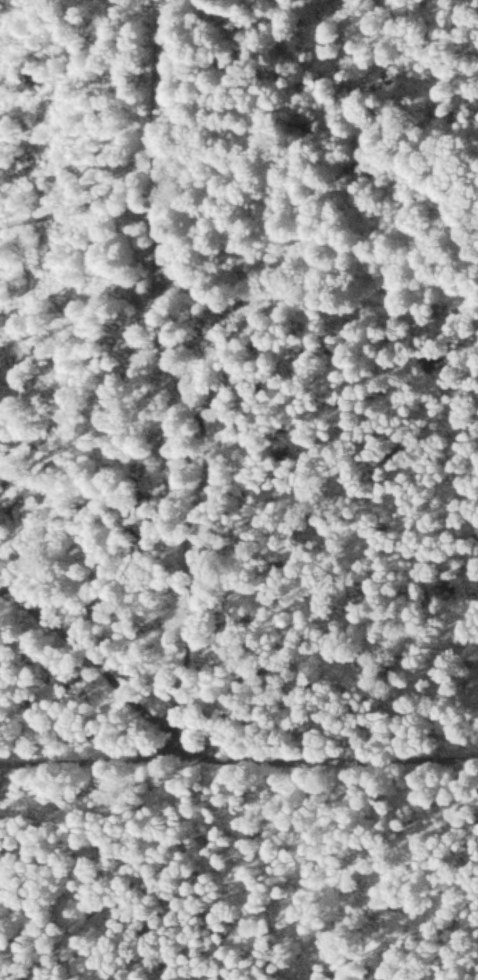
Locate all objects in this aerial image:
road: (238, 758)

